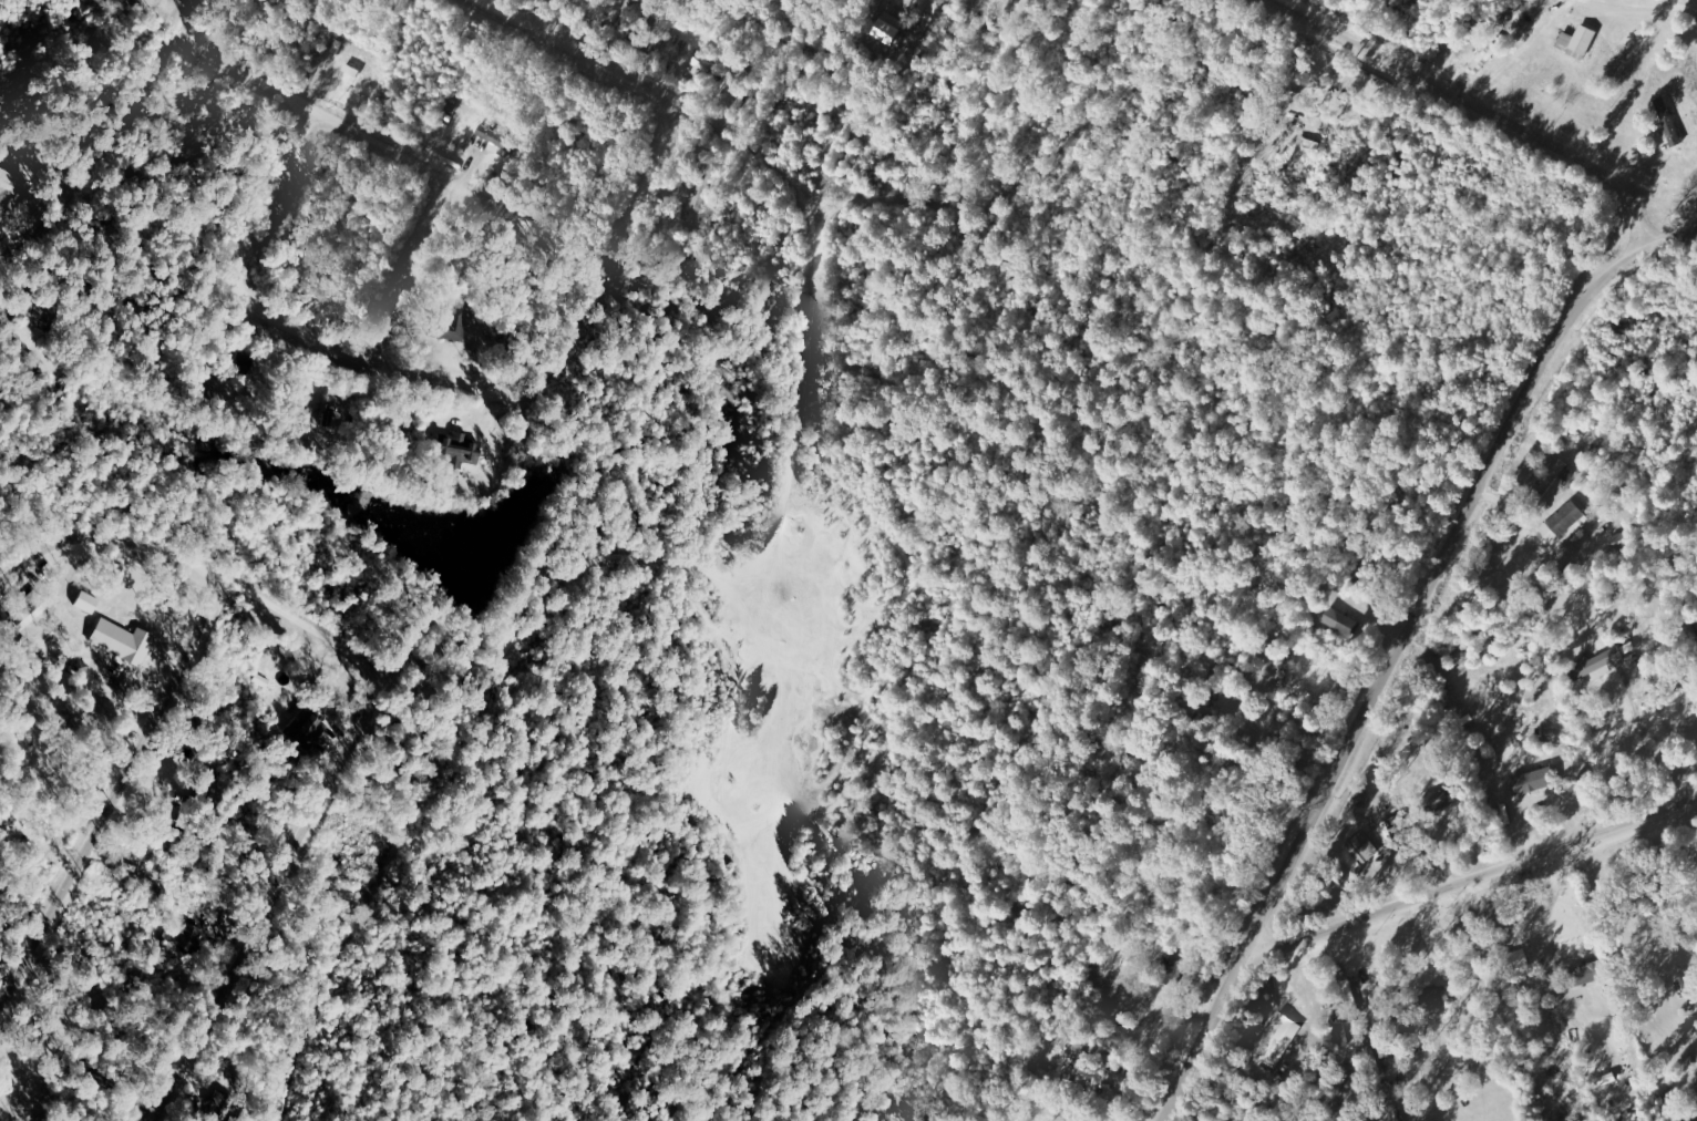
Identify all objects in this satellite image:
road: (174, 21)
building: (888, 29)
building: (1580, 42)
road: (560, 52)
building: (1484, 60)
building: (701, 64)
road: (239, 74)
road: (1472, 104)
building: (1668, 121)
building: (503, 138)
road: (768, 138)
road: (1057, 150)
road: (95, 163)
building: (8, 182)
road: (641, 186)
road: (454, 189)
building: (701, 195)
road: (268, 196)
road: (1672, 237)
road: (408, 271)
building: (34, 310)
building: (453, 323)
road: (448, 376)
building: (459, 450)
building: (1553, 476)
building: (1563, 521)
road: (22, 563)
building: (85, 603)
building: (29, 610)
road: (321, 637)
building: (121, 641)
building: (1603, 661)
road: (1387, 669)
building: (304, 724)
building: (1534, 781)
road: (113, 812)
building: (1387, 826)
building: (1361, 847)
road: (1472, 878)
road: (276, 901)
building: (183, 936)
building: (1587, 974)
building: (1349, 993)
building: (1438, 996)
building: (1274, 1040)

